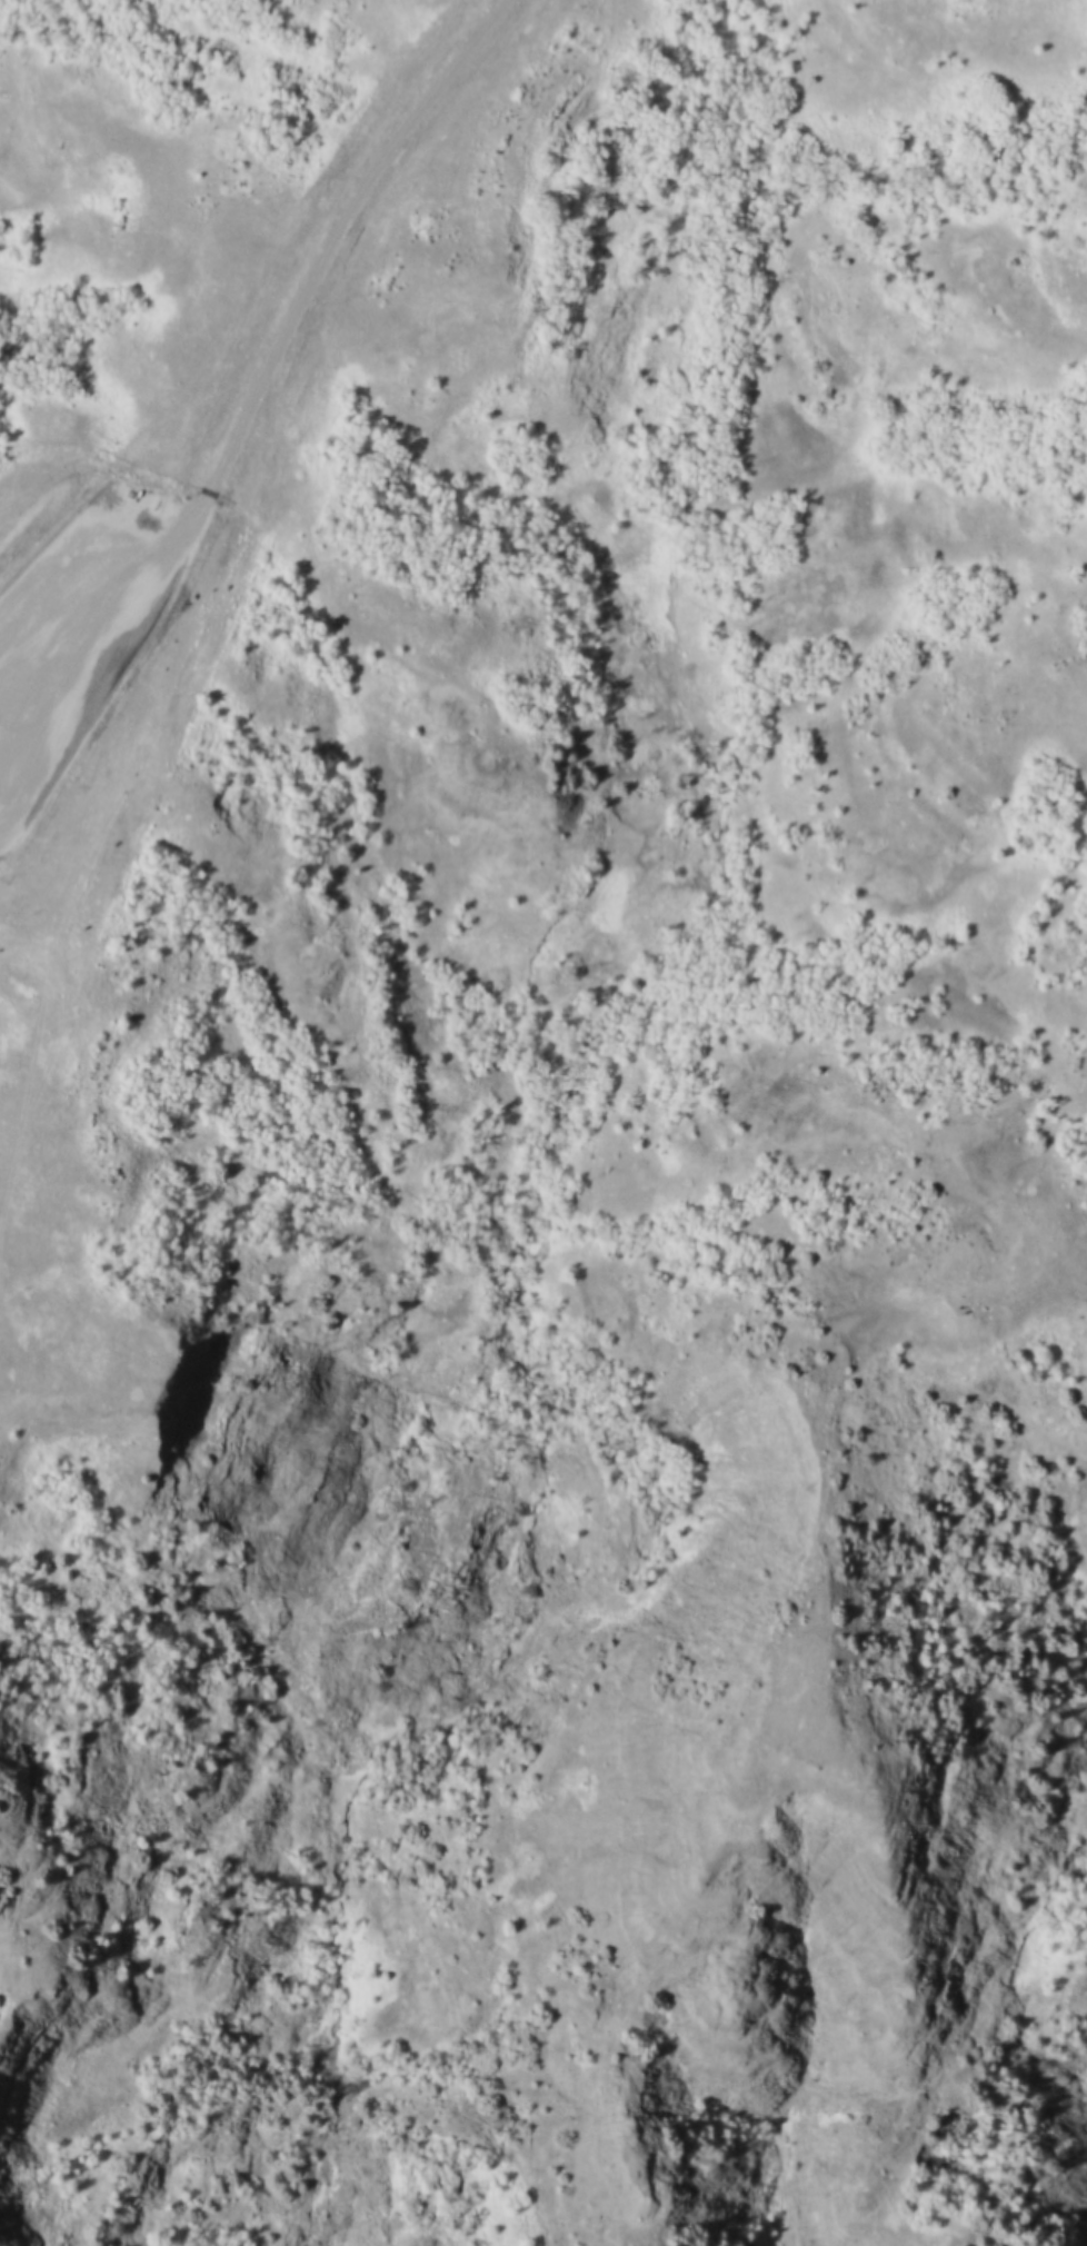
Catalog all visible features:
road: (256, 371)

